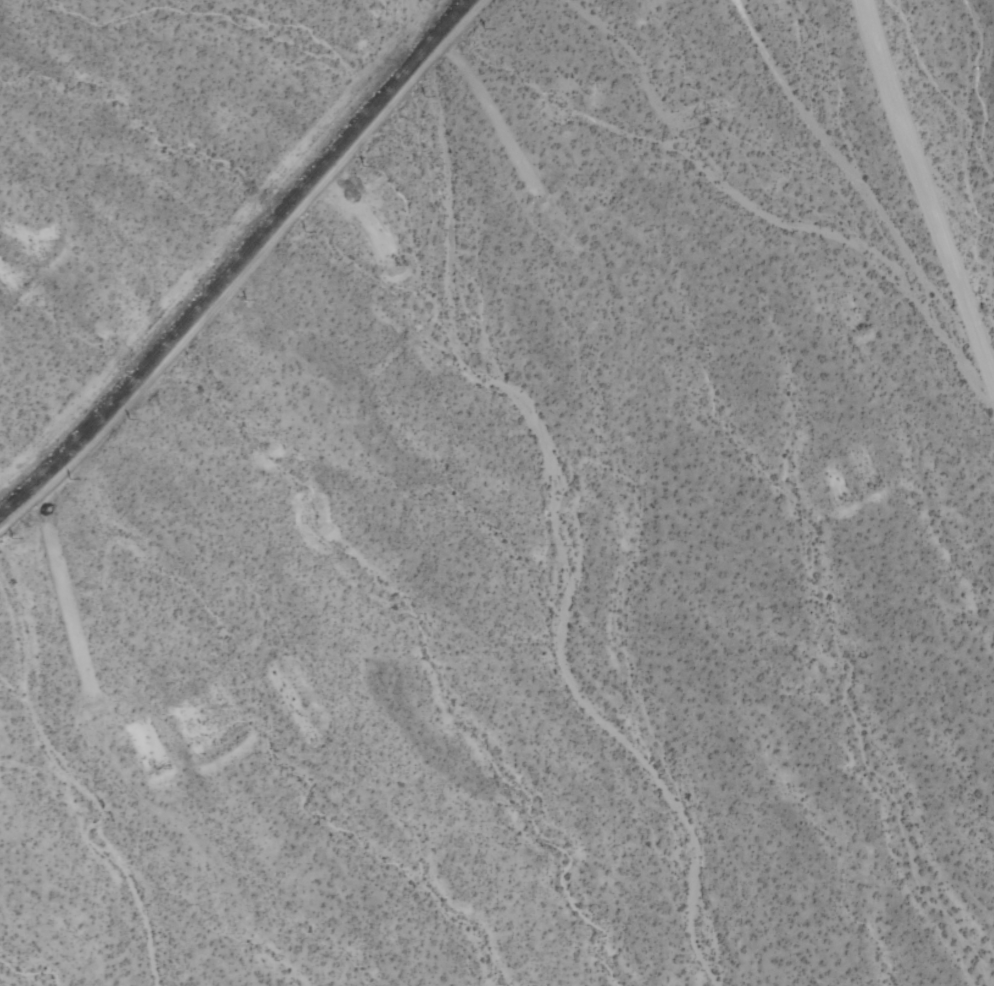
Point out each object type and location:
road: (925, 195)
railway: (233, 257)
road: (244, 267)

